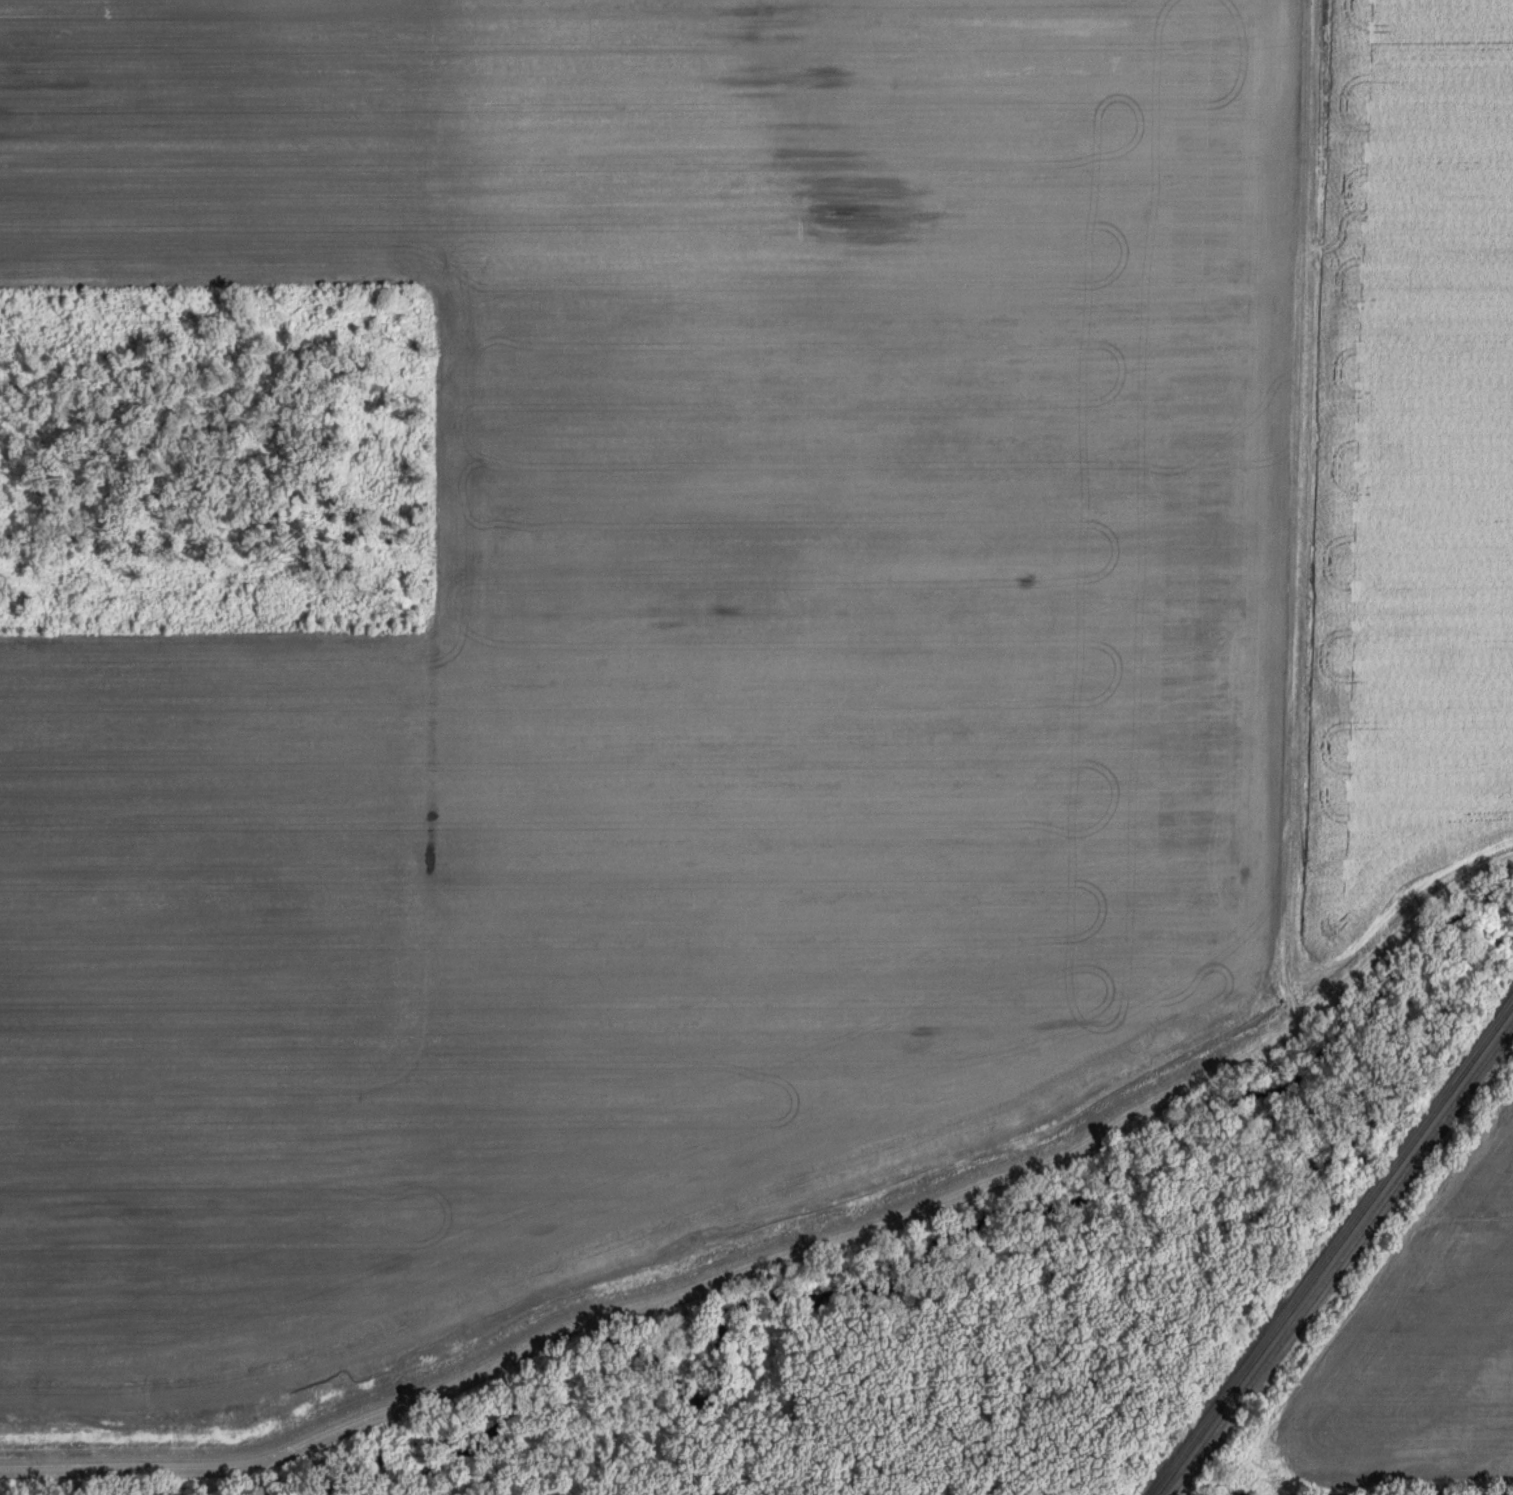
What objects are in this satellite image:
railway: (1334, 1249)
railway: (1341, 1258)

